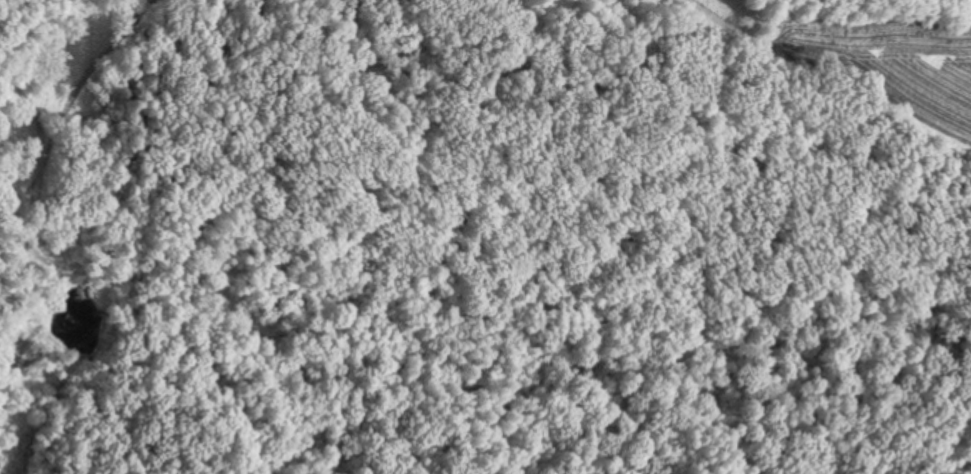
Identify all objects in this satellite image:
crop: (927, 73)

